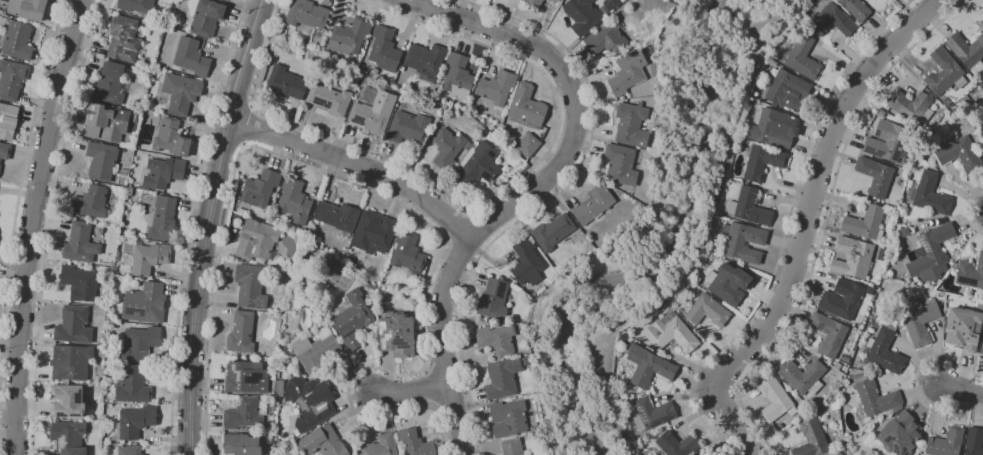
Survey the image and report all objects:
building: (224, 0)
building: (545, 0)
building: (556, 0)
building: (559, 0)
building: (534, 3)
building: (610, 4)
building: (137, 6)
building: (27, 9)
building: (855, 9)
building: (306, 14)
building: (582, 15)
building: (205, 16)
building: (832, 21)
building: (350, 37)
building: (123, 39)
building: (606, 39)
building: (17, 41)
building: (384, 50)
building: (967, 51)
building: (191, 57)
building: (801, 57)
building: (425, 59)
building: (944, 72)
building: (628, 73)
building: (456, 76)
building: (11, 79)
building: (285, 83)
building: (110, 84)
building: (497, 88)
building: (787, 91)
building: (180, 93)
road: (235, 99)
building: (330, 100)
building: (965, 101)
building: (946, 102)
building: (526, 108)
building: (911, 108)
building: (373, 113)
building: (8, 121)
building: (108, 121)
building: (631, 125)
building: (408, 128)
building: (774, 128)
building: (171, 138)
road: (225, 141)
building: (886, 142)
building: (527, 145)
building: (468, 146)
building: (447, 148)
building: (4, 151)
building: (959, 153)
building: (101, 161)
building: (762, 162)
building: (477, 165)
building: (620, 165)
road: (357, 166)
building: (0, 167)
building: (124, 172)
building: (163, 172)
building: (875, 176)
road: (533, 188)
building: (260, 189)
road: (19, 192)
building: (129, 192)
building: (928, 195)
building: (294, 201)
road: (544, 201)
road: (480, 202)
building: (89, 203)
building: (593, 204)
building: (749, 207)
road: (969, 211)
building: (336, 218)
building: (163, 219)
road: (824, 220)
building: (865, 223)
road: (34, 224)
road: (49, 224)
road: (189, 224)
road: (207, 224)
road: (805, 224)
road: (455, 226)
road: (785, 230)
building: (552, 232)
building: (374, 233)
building: (257, 241)
building: (743, 242)
building: (80, 243)
building: (932, 253)
building: (408, 255)
building: (853, 257)
building: (149, 258)
building: (527, 263)
building: (969, 273)
building: (79, 282)
building: (728, 283)
road: (428, 284)
building: (250, 286)
building: (940, 296)
building: (398, 297)
road: (215, 298)
building: (494, 299)
building: (841, 300)
building: (950, 300)
building: (145, 304)
building: (707, 311)
building: (352, 314)
building: (317, 320)
building: (919, 322)
building: (74, 325)
building: (963, 329)
building: (241, 333)
building: (671, 333)
building: (397, 334)
building: (828, 334)
building: (495, 339)
building: (352, 342)
building: (139, 343)
building: (981, 348)
building: (316, 350)
building: (884, 350)
building: (846, 359)
building: (524, 361)
building: (71, 362)
building: (281, 366)
building: (648, 366)
building: (837, 366)
building: (802, 376)
building: (246, 377)
building: (502, 378)
road: (915, 383)
building: (132, 385)
building: (279, 389)
road: (961, 389)
road: (411, 392)
building: (874, 397)
building: (776, 400)
building: (67, 402)
building: (309, 402)
building: (834, 406)
building: (896, 409)
building: (808, 412)
building: (243, 414)
building: (652, 414)
building: (860, 414)
building: (508, 418)
building: (133, 423)
building: (781, 426)
road: (440, 427)
building: (899, 434)
building: (69, 437)
building: (811, 439)
building: (269, 440)
building: (323, 442)
building: (974, 442)
building: (414, 443)
building: (945, 443)
building: (241, 445)
building: (677, 445)
building: (380, 446)
building: (511, 447)
building: (129, 450)
building: (704, 453)
building: (839, 454)

